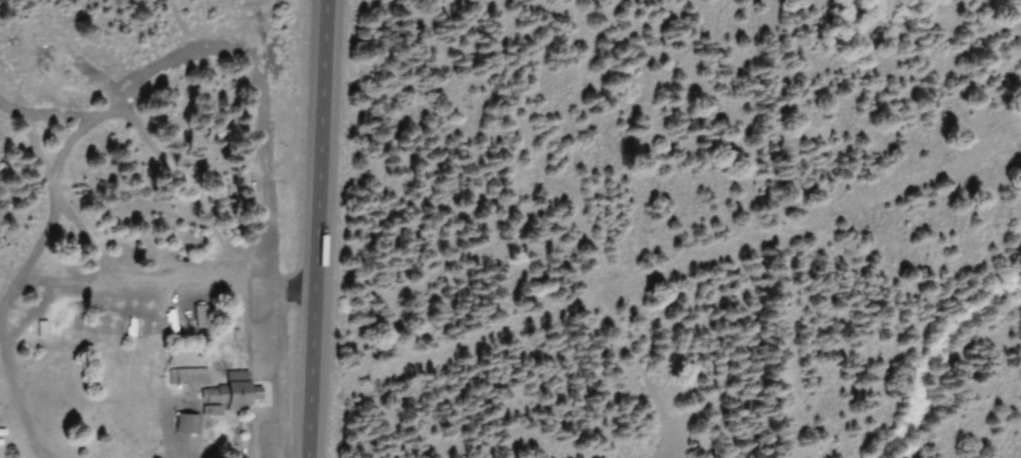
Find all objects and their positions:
road: (314, 229)
building: (184, 375)
building: (225, 390)
building: (181, 424)

